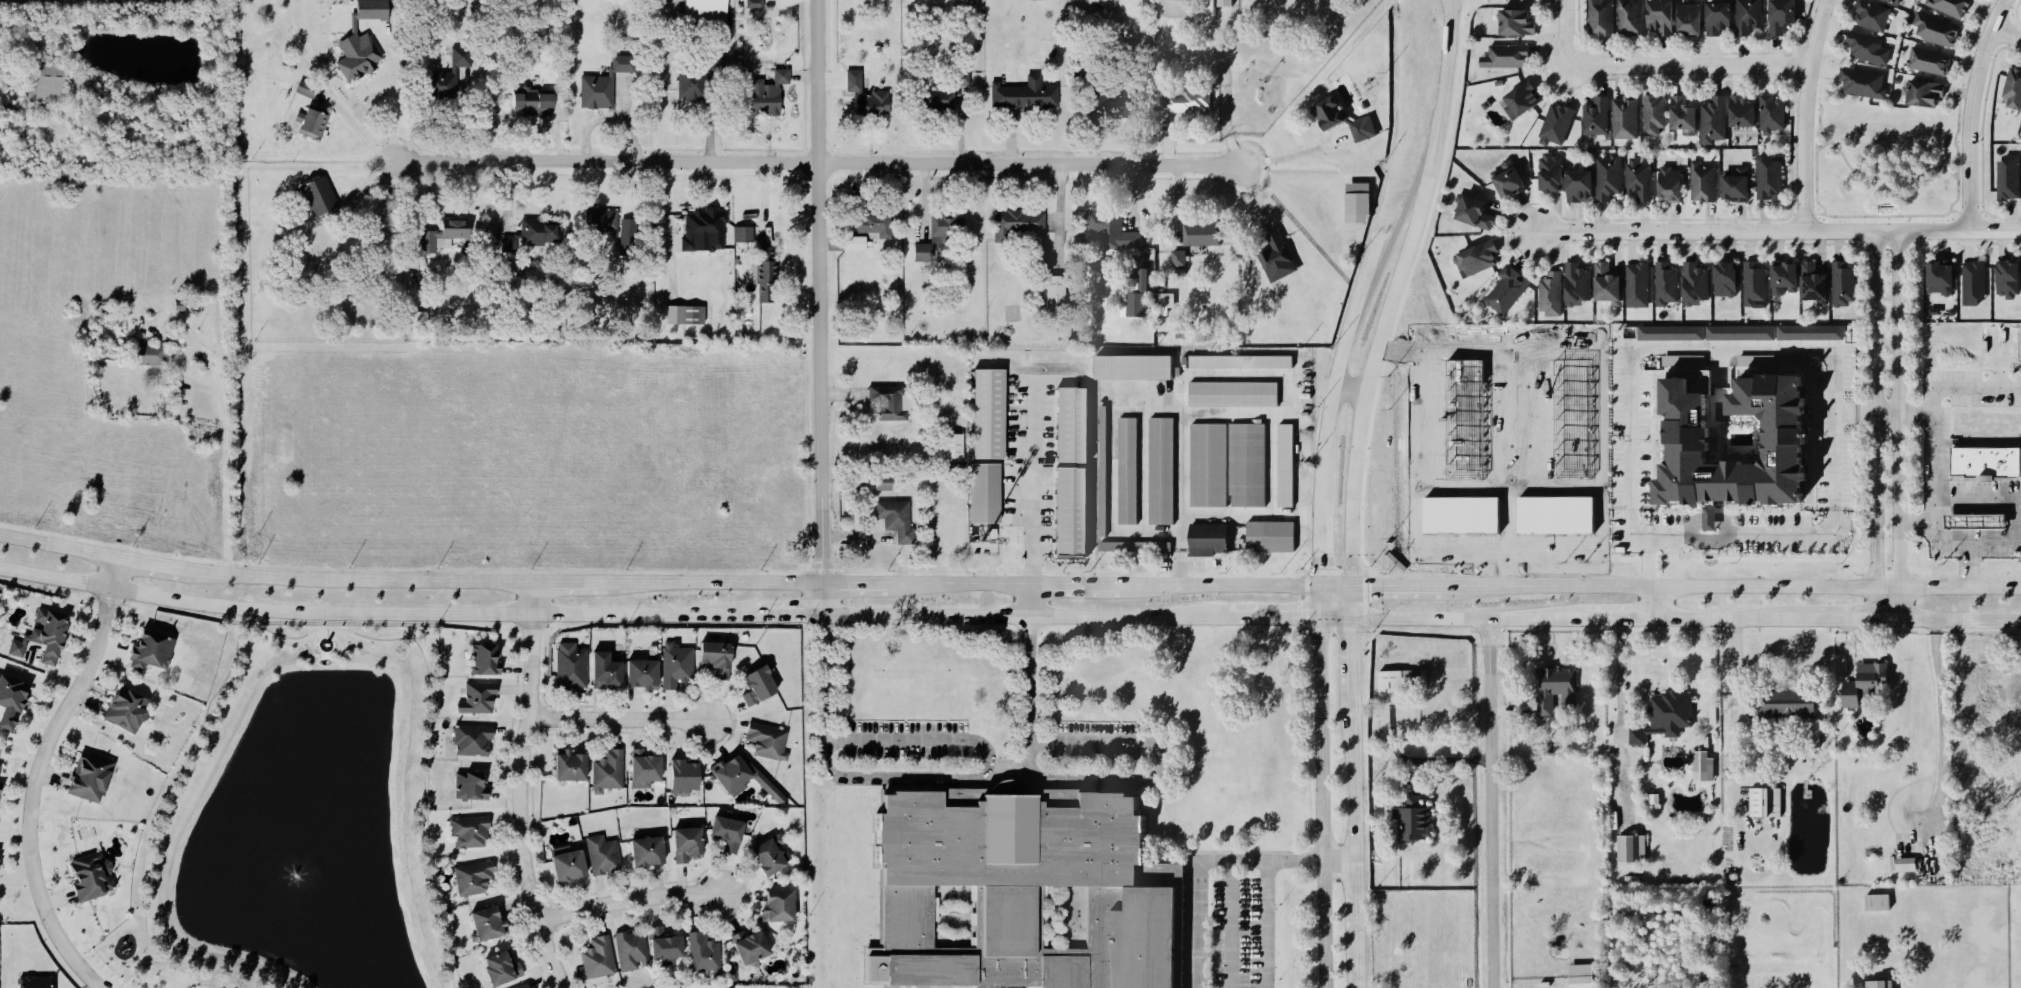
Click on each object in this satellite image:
building: (1179, 0)
building: (1896, 1)
building: (1223, 3)
building: (755, 4)
building: (1953, 6)
building: (770, 7)
building: (1208, 8)
building: (371, 9)
building: (706, 13)
building: (1873, 14)
building: (1784, 15)
building: (1749, 16)
building: (1602, 17)
building: (1632, 17)
building: (1663, 17)
building: (1722, 17)
building: (1692, 19)
building: (1520, 21)
building: (1938, 28)
road: (2007, 31)
road: (1562, 32)
building: (1868, 47)
building: (1508, 55)
building: (361, 56)
building: (1930, 60)
road: (1685, 64)
building: (457, 69)
road: (1447, 70)
building: (45, 82)
building: (1864, 82)
building: (1497, 83)
building: (607, 84)
building: (695, 85)
building: (2014, 88)
building: (309, 89)
building: (772, 93)
building: (1928, 93)
building: (1028, 94)
building: (944, 97)
building: (871, 98)
building: (1523, 99)
building: (1188, 100)
building: (537, 102)
building: (1116, 102)
building: (1484, 105)
building: (1745, 111)
building: (1332, 112)
building: (1654, 114)
building: (1773, 114)
road: (1971, 114)
road: (392, 115)
building: (1685, 115)
building: (1597, 116)
road: (1803, 116)
building: (1626, 117)
building: (1714, 120)
building: (315, 123)
building: (1558, 124)
building: (1365, 128)
road: (1284, 155)
park: (1885, 165)
road: (816, 167)
building: (1554, 172)
building: (1609, 176)
building: (1771, 177)
building: (2010, 177)
building: (1639, 178)
building: (1513, 179)
building: (1704, 182)
building: (1672, 183)
building: (1582, 185)
building: (1739, 185)
building: (322, 196)
building: (1361, 202)
building: (1478, 212)
building: (605, 220)
building: (1022, 222)
building: (875, 224)
building: (1113, 228)
building: (706, 229)
building: (1203, 233)
building: (746, 234)
building: (447, 235)
building: (536, 235)
building: (633, 236)
road: (1776, 236)
building: (939, 238)
building: (858, 244)
building: (1180, 257)
building: (1279, 257)
building: (1480, 258)
building: (770, 274)
building: (1787, 277)
building: (1943, 277)
building: (1728, 278)
building: (2010, 279)
building: (1609, 282)
building: (1816, 282)
building: (1845, 282)
building: (1975, 282)
building: (1579, 283)
building: (1666, 283)
building: (1697, 283)
building: (1638, 284)
building: (1756, 284)
building: (1509, 289)
building: (1059, 292)
building: (1552, 293)
road: (1364, 296)
building: (1138, 297)
road: (817, 308)
building: (689, 314)
building: (1673, 332)
building: (1742, 332)
building: (1812, 332)
road: (225, 334)
road: (1780, 343)
building: (153, 355)
road: (1375, 360)
building: (1238, 362)
building: (1133, 368)
road: (1962, 384)
building: (1232, 394)
building: (891, 402)
building: (1735, 403)
building: (993, 414)
road: (1884, 416)
building: (1465, 419)
building: (1573, 420)
building: (1072, 424)
road: (1874, 428)
road: (1895, 429)
building: (1105, 437)
building: (1698, 438)
building: (957, 446)
building: (1989, 461)
building: (1248, 464)
building: (1208, 465)
building: (1284, 465)
building: (1101, 470)
building: (1127, 470)
building: (1161, 471)
building: (1668, 471)
road: (1028, 480)
building: (887, 482)
building: (989, 493)
road: (1974, 500)
building: (1070, 511)
road: (1928, 511)
building: (1461, 515)
building: (1555, 515)
building: (1713, 518)
building: (899, 519)
building: (1980, 521)
road: (1321, 523)
road: (2015, 531)
building: (1269, 537)
building: (1208, 538)
road: (1928, 539)
road: (59, 546)
building: (1134, 547)
road: (154, 564)
traffic signals: (1320, 565)
road: (361, 581)
road: (571, 581)
road: (715, 582)
road: (862, 583)
road: (1111, 584)
road: (1336, 585)
road: (1408, 585)
traffic signals: (1370, 586)
road: (1742, 586)
road: (1319, 602)
road: (1651, 603)
road: (367, 613)
road: (780, 616)
road: (1018, 617)
road: (1465, 618)
road: (1284, 619)
traffic signals: (1300, 619)
road: (1615, 619)
road: (1722, 620)
road: (1844, 621)
road: (1958, 621)
road: (281, 634)
traffic signals: (1353, 635)
building: (47, 636)
road: (1353, 645)
building: (154, 651)
building: (721, 658)
building: (487, 659)
building: (679, 664)
building: (574, 666)
building: (610, 671)
building: (646, 674)
building: (1867, 683)
building: (1395, 684)
building: (763, 686)
building: (1555, 687)
building: (481, 698)
building: (14, 701)
building: (1788, 704)
road: (1737, 708)
building: (130, 710)
road: (1619, 713)
building: (1667, 716)
road: (1939, 716)
road: (618, 718)
road: (949, 737)
building: (475, 740)
building: (771, 741)
road: (1008, 760)
building: (1704, 765)
building: (574, 767)
building: (648, 769)
building: (611, 771)
road: (36, 775)
building: (688, 776)
building: (745, 777)
building: (93, 778)
road: (1079, 780)
building: (1, 781)
road: (1354, 781)
building: (472, 787)
road: (521, 787)
road: (1490, 802)
building: (1767, 802)
road: (1319, 803)
building: (1415, 818)
building: (472, 831)
building: (731, 833)
building: (690, 842)
building: (1633, 849)
building: (651, 850)
building: (606, 854)
building: (775, 854)
building: (1, 858)
road: (1337, 858)
road: (1194, 862)
building: (572, 863)
building: (1908, 864)
building: (95, 875)
building: (476, 877)
fountain: (296, 878)
building: (1016, 889)
road: (629, 899)
building: (1880, 901)
building: (782, 905)
road: (1355, 905)
building: (492, 923)
road: (1226, 925)
road: (1261, 925)
building: (669, 944)
building: (754, 946)
building: (634, 950)
building: (706, 952)
building: (600, 958)
building: (505, 967)
road: (1356, 970)
road: (136, 971)
building: (1584, 975)
building: (39, 982)
building: (1883, 983)
building: (527, 986)

